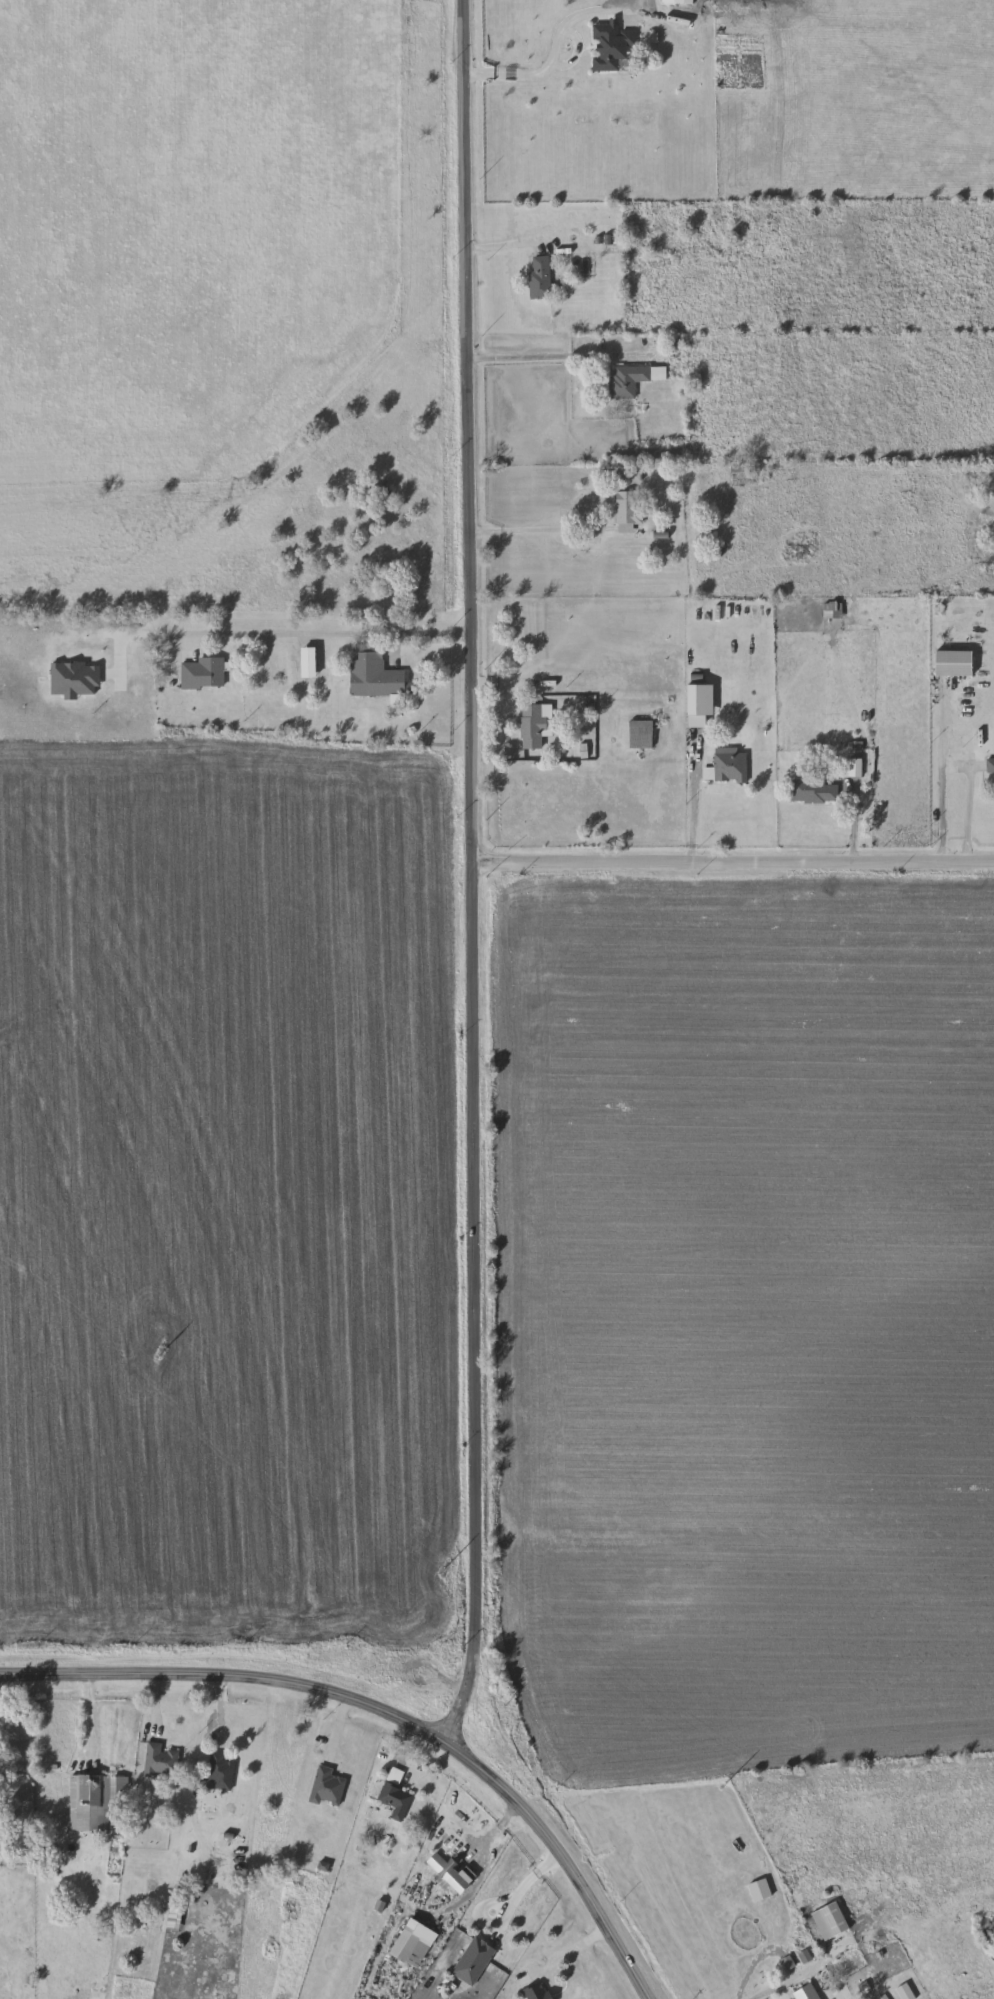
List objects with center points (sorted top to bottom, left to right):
building: (686, 1)
building: (612, 46)
road: (554, 49)
road: (513, 246)
building: (541, 277)
road: (565, 357)
building: (633, 380)
building: (629, 510)
road: (536, 531)
road: (733, 594)
road: (304, 635)
building: (955, 663)
building: (209, 671)
building: (376, 675)
building: (695, 690)
building: (695, 707)
building: (533, 726)
building: (642, 734)
building: (991, 763)
building: (730, 765)
building: (856, 767)
road: (553, 772)
road: (942, 774)
building: (814, 791)
road: (972, 812)
road: (853, 822)
road: (734, 862)
road: (473, 874)
power tower: (160, 1354)
power tower: (443, 1572)
road: (388, 1714)
road: (90, 1717)
building: (163, 1761)
building: (221, 1772)
power tower: (723, 1787)
building: (329, 1788)
building: (396, 1800)
building: (99, 1804)
road: (496, 1830)
building: (453, 1872)
road: (522, 1883)
building: (831, 1921)
building: (411, 1949)
road: (780, 1982)
building: (540, 1991)
building: (807, 1993)

